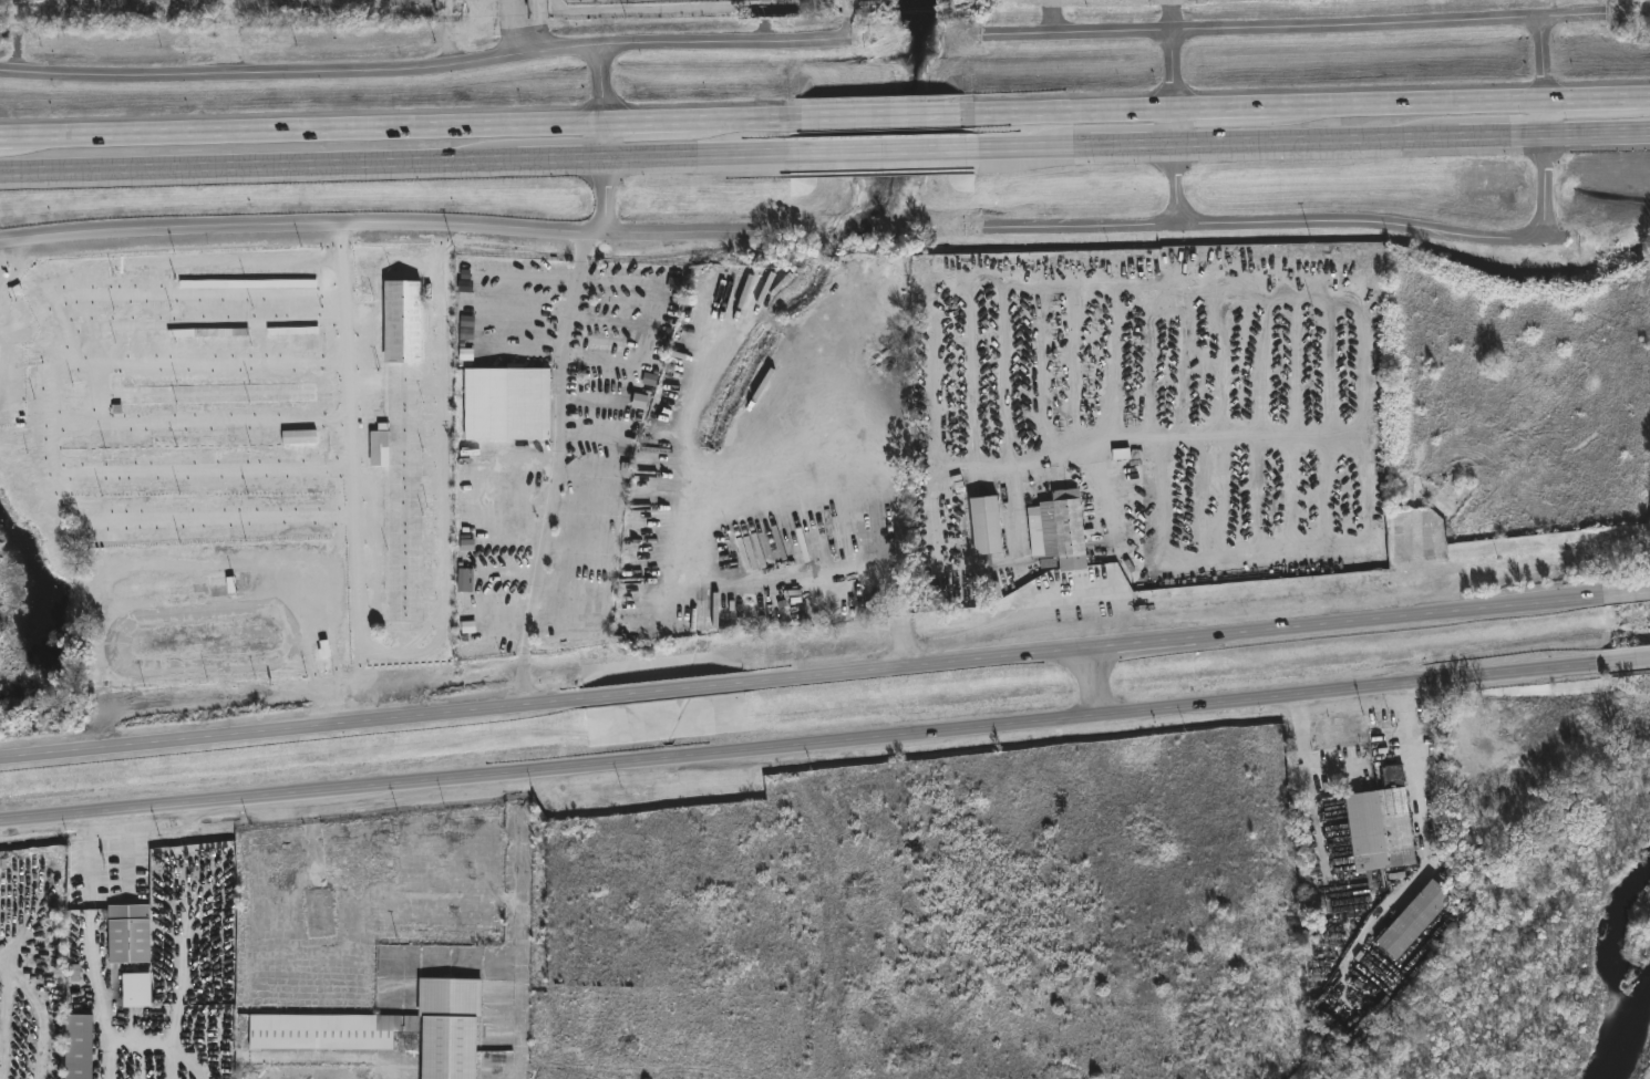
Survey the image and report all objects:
building: (872, 6)
park: (1252, 17)
road: (837, 24)
road: (525, 30)
road: (1296, 30)
road: (447, 34)
road: (406, 73)
road: (824, 114)
road: (1176, 129)
road: (1549, 129)
road: (1599, 133)
road: (1505, 135)
road: (1319, 139)
road: (609, 142)
road: (1134, 145)
road: (849, 151)
road: (563, 156)
road: (258, 164)
road: (1290, 226)
road: (375, 227)
road: (4, 319)
building: (404, 321)
road: (51, 400)
building: (509, 403)
building: (300, 437)
road: (1117, 438)
building: (381, 447)
road: (874, 459)
road: (349, 471)
road: (557, 473)
road: (445, 475)
building: (988, 526)
building: (1061, 530)
building: (466, 580)
building: (223, 582)
road: (1619, 592)
road: (1625, 660)
road: (794, 678)
road: (1094, 681)
road: (800, 741)
road: (1306, 760)
road: (1421, 769)
building: (1384, 823)
building: (1417, 920)
building: (131, 934)
building: (140, 990)
building: (392, 1029)
building: (80, 1047)

